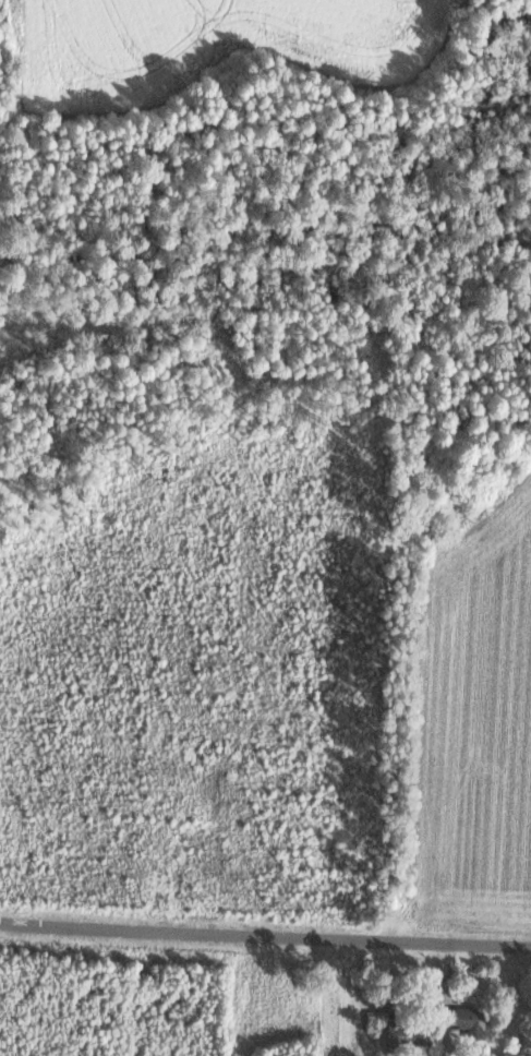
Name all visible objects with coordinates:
road: (265, 939)
building: (468, 1018)
building: (409, 1033)

